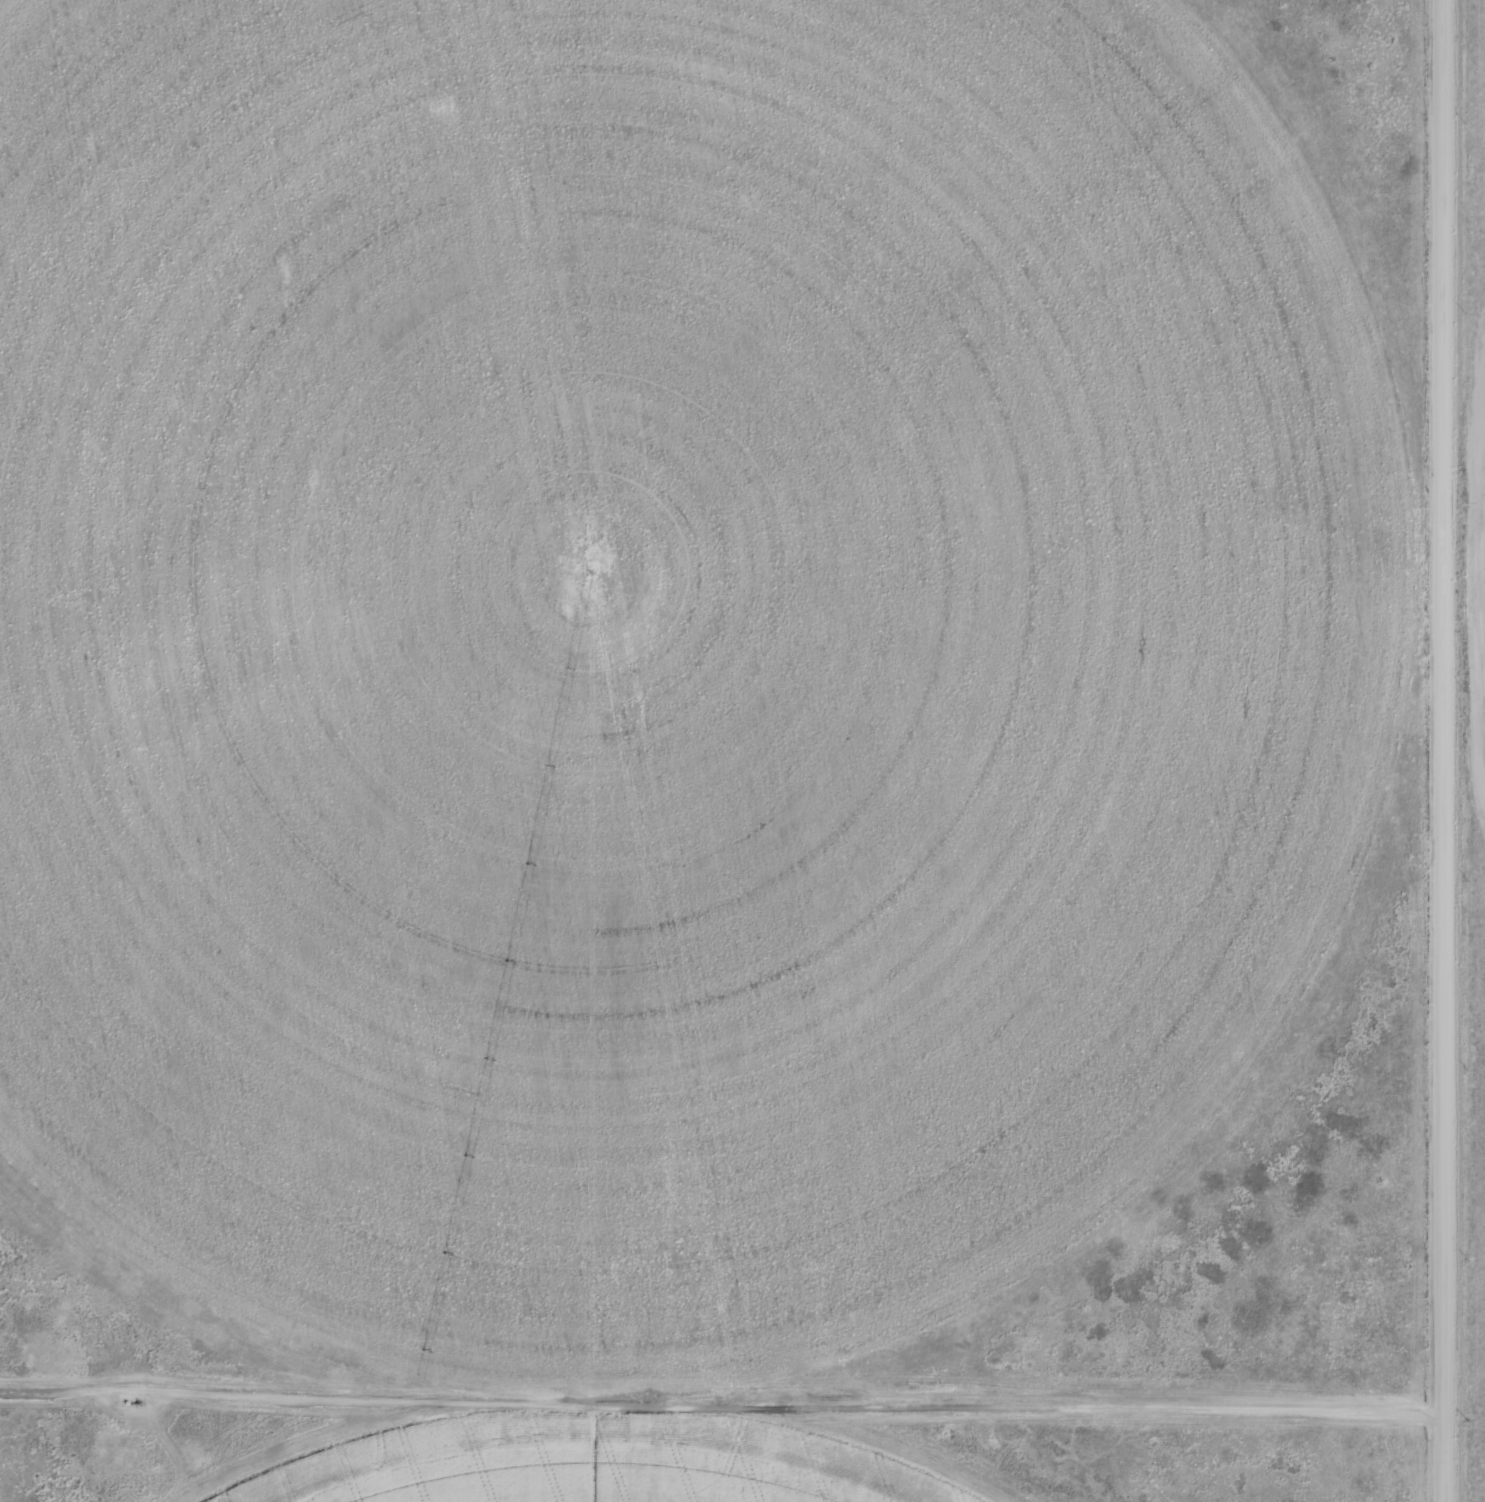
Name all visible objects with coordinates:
road: (1446, 751)

